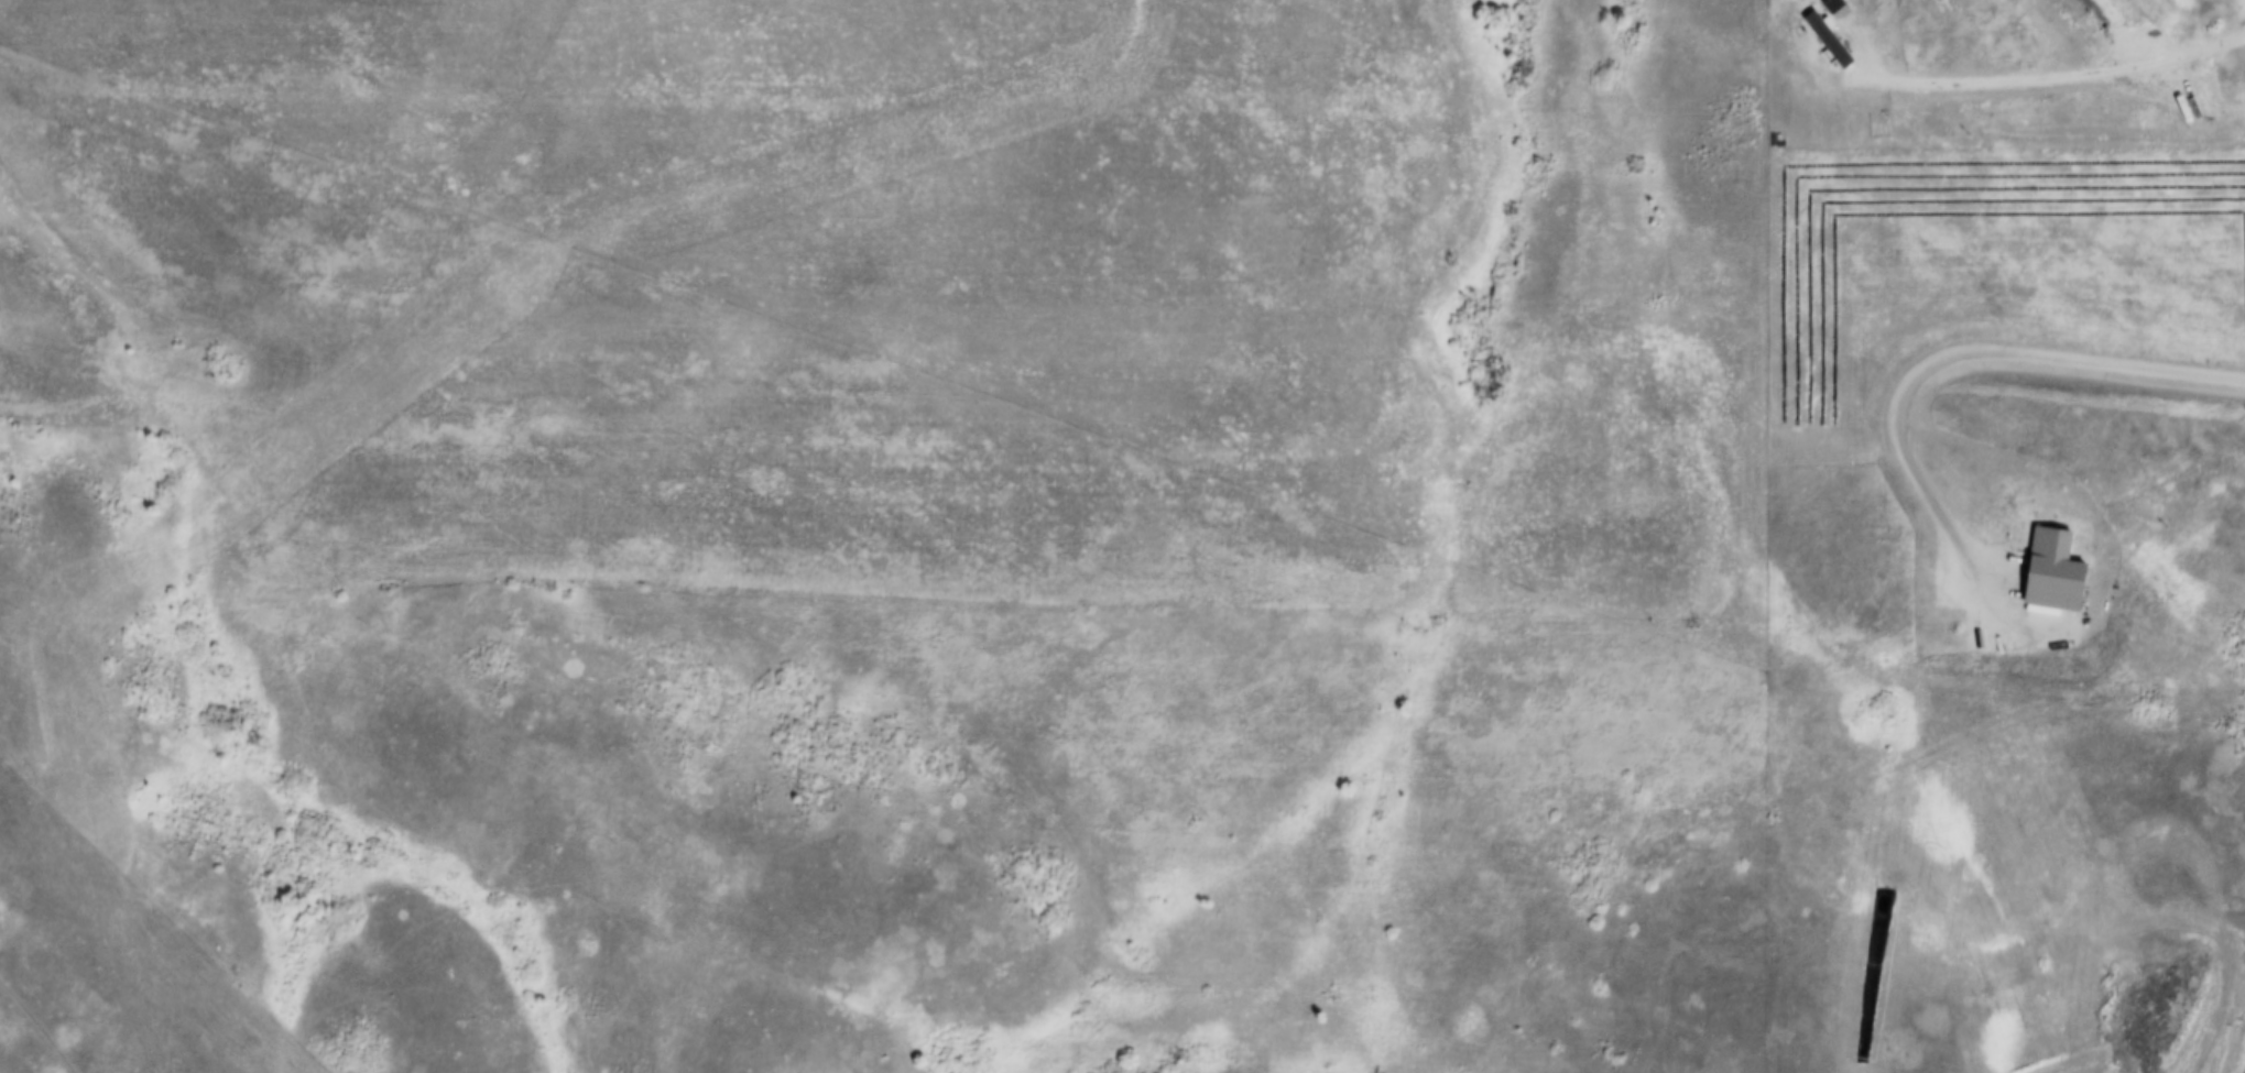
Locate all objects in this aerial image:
road: (39, 1027)

